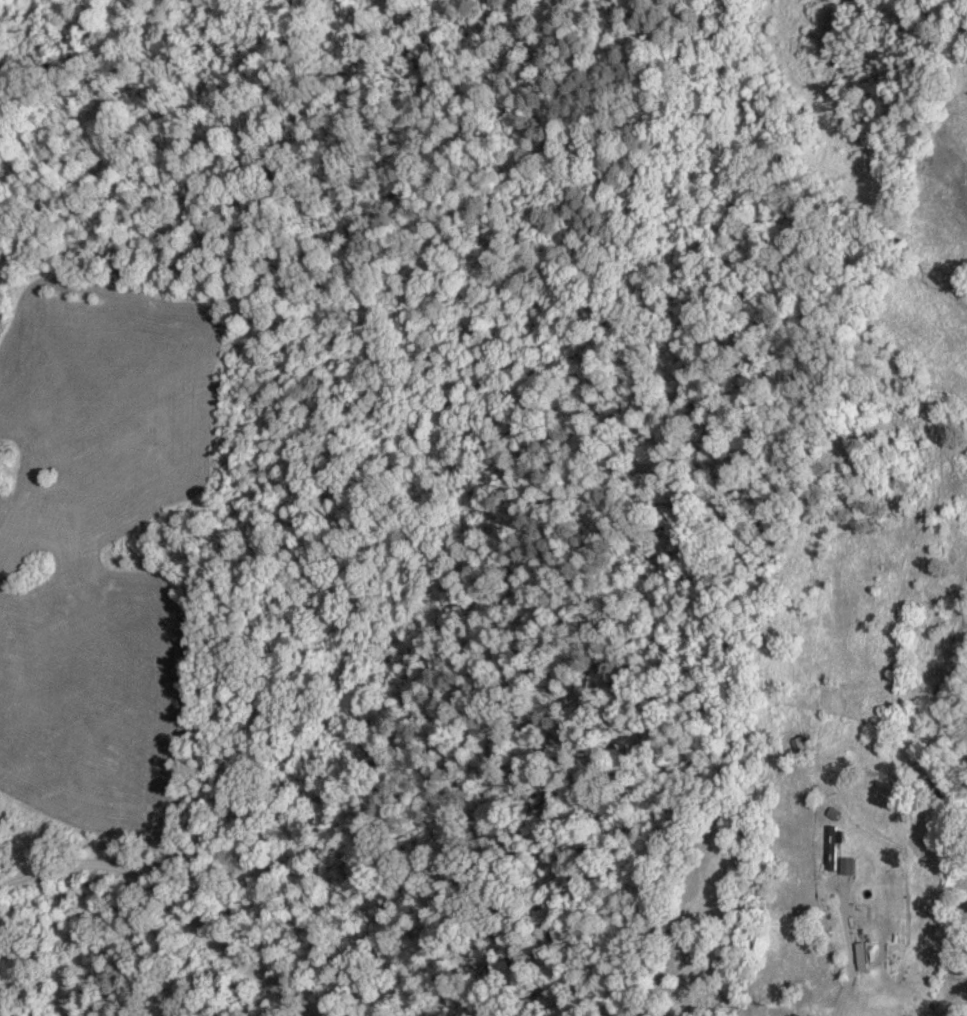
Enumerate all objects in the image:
road: (170, 896)
road: (850, 952)

